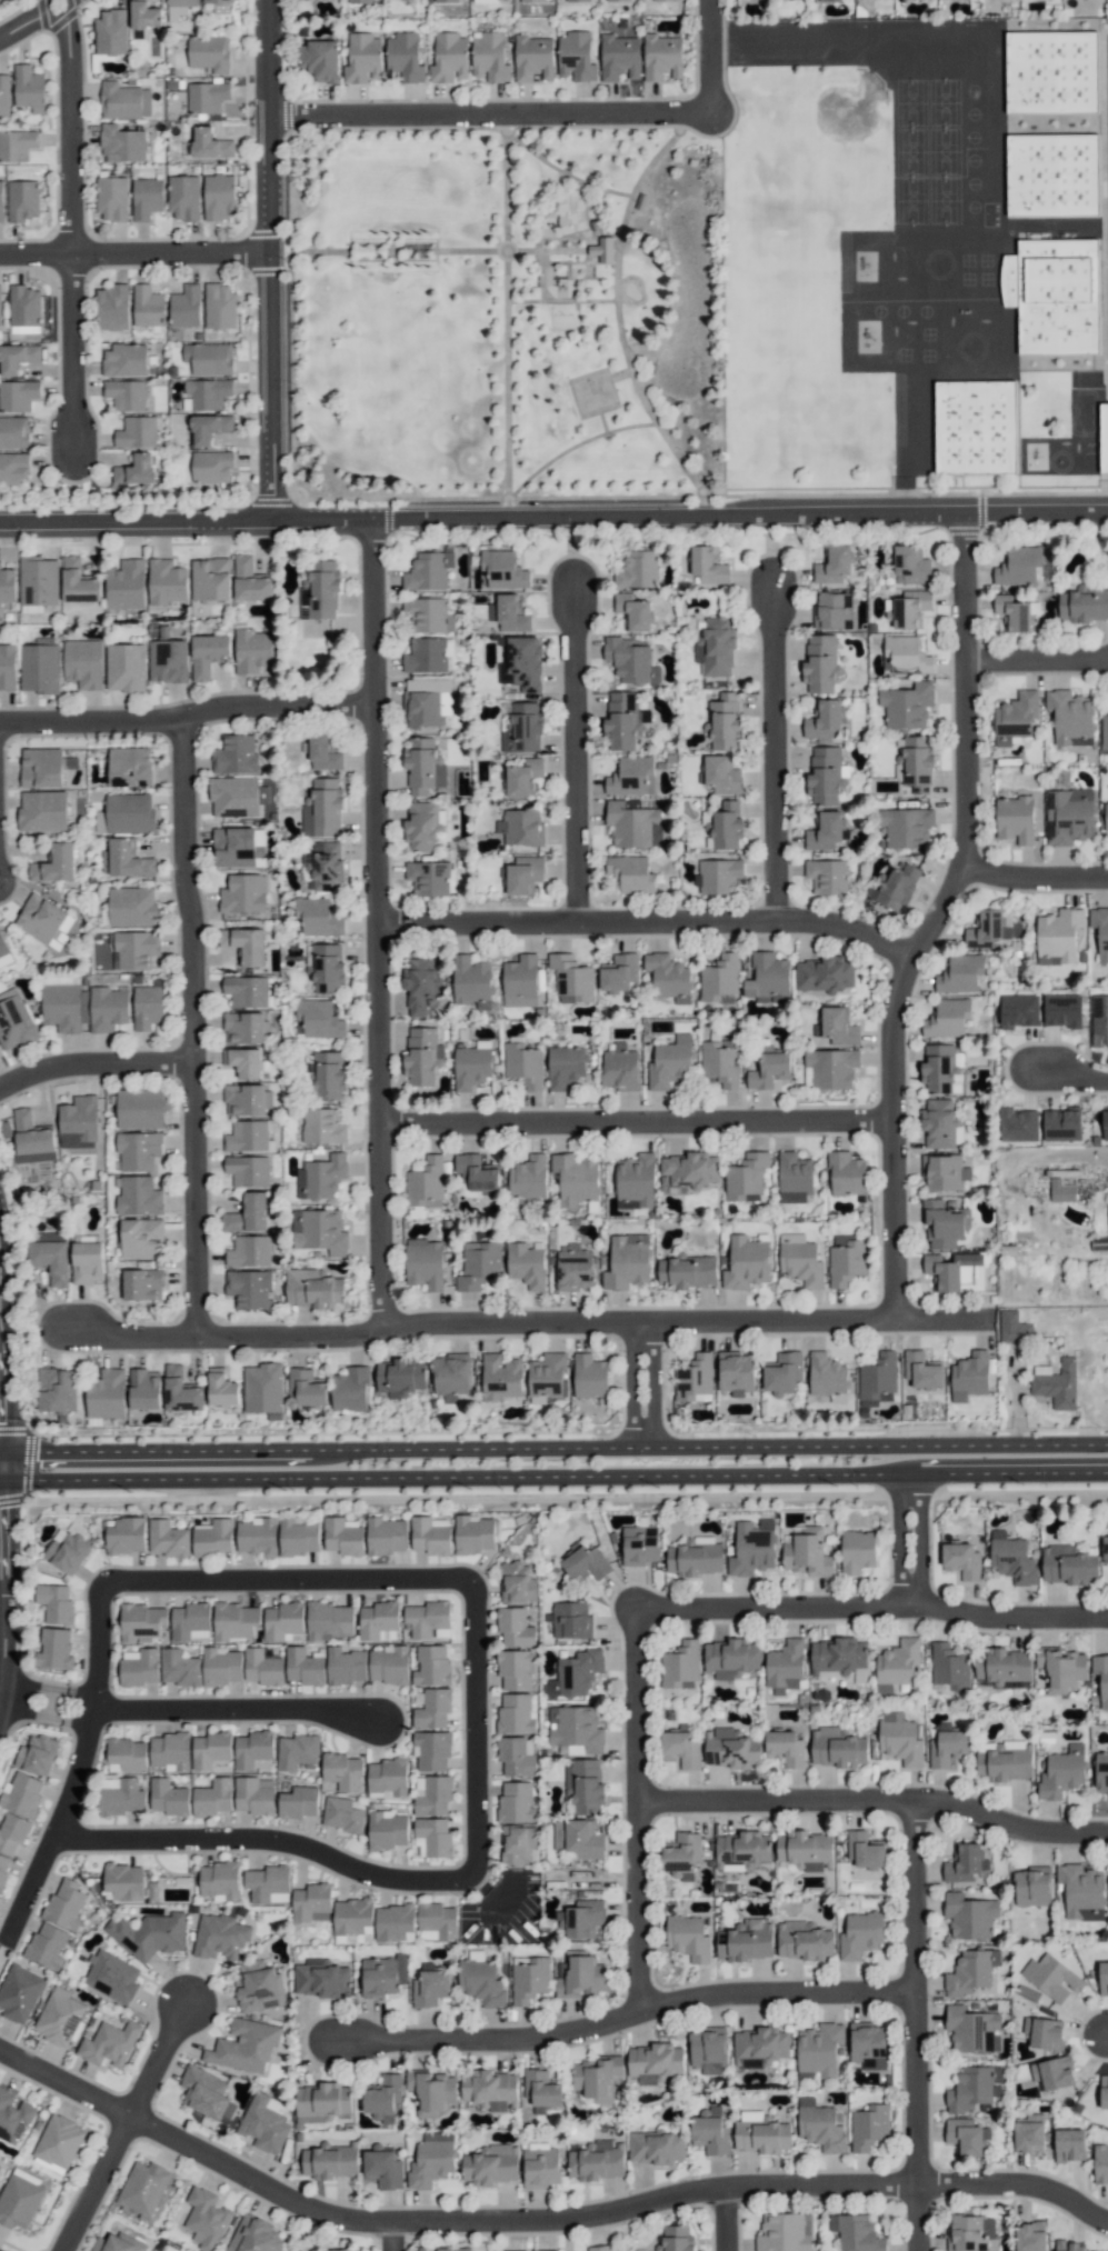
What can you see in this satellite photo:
building: (449, 0)
building: (489, 0)
building: (535, 0)
building: (563, 0)
building: (620, 0)
building: (663, 0)
building: (2, 1)
building: (218, 1)
building: (365, 1)
building: (179, 8)
building: (144, 14)
road: (33, 20)
building: (110, 32)
building: (209, 53)
road: (718, 56)
building: (405, 57)
building: (489, 57)
building: (575, 57)
building: (619, 57)
building: (662, 57)
building: (362, 58)
building: (449, 58)
building: (532, 58)
building: (320, 60)
building: (1052, 72)
building: (28, 86)
building: (3, 96)
building: (207, 97)
building: (123, 100)
park: (910, 102)
park: (942, 102)
road: (499, 112)
road: (79, 126)
road: (572, 126)
building: (122, 143)
building: (210, 143)
building: (17, 144)
park: (806, 149)
park: (910, 151)
park: (944, 151)
road: (565, 173)
building: (1054, 174)
parking lot: (1106, 188)
building: (183, 197)
building: (219, 197)
building: (112, 198)
building: (147, 198)
building: (1, 200)
building: (23, 200)
park: (910, 200)
park: (944, 200)
building: (641, 201)
building: (595, 226)
building: (602, 249)
road: (437, 251)
road: (139, 252)
road: (280, 260)
road: (617, 269)
road: (541, 276)
building: (1054, 294)
road: (561, 300)
building: (23, 306)
building: (147, 306)
building: (186, 306)
building: (220, 306)
building: (0, 307)
building: (112, 307)
park: (508, 312)
road: (289, 319)
building: (24, 329)
road: (80, 356)
building: (17, 358)
building: (208, 358)
building: (124, 360)
park: (592, 392)
building: (206, 393)
building: (18, 394)
building: (126, 394)
building: (209, 428)
building: (975, 428)
building: (14, 432)
building: (137, 432)
building: (1104, 437)
road: (507, 439)
building: (211, 466)
building: (13, 468)
building: (136, 469)
road: (700, 496)
road: (553, 517)
building: (834, 564)
building: (911, 564)
building: (708, 566)
building: (1018, 566)
building: (503, 569)
building: (637, 570)
building: (428, 571)
building: (210, 579)
building: (38, 581)
building: (250, 581)
building: (78, 582)
building: (166, 582)
building: (126, 584)
building: (7, 586)
building: (320, 591)
building: (1084, 604)
building: (910, 609)
building: (832, 610)
building: (633, 611)
building: (1015, 612)
building: (509, 613)
building: (429, 614)
building: (716, 647)
building: (253, 650)
building: (208, 654)
building: (426, 656)
building: (905, 656)
building: (630, 660)
road: (1040, 660)
building: (168, 661)
building: (83, 663)
building: (522, 663)
building: (821, 663)
building: (124, 667)
building: (8, 668)
building: (40, 668)
building: (427, 702)
building: (907, 706)
road: (190, 714)
building: (1016, 717)
building: (1070, 718)
building: (823, 719)
building: (621, 721)
building: (725, 721)
building: (522, 729)
building: (1104, 732)
road: (779, 751)
building: (323, 752)
road: (580, 752)
building: (236, 754)
building: (915, 764)
building: (423, 766)
building: (41, 767)
building: (130, 767)
building: (722, 774)
building: (631, 776)
building: (825, 776)
building: (523, 777)
building: (237, 797)
building: (322, 809)
building: (42, 810)
building: (127, 814)
building: (1068, 816)
building: (1106, 817)
building: (1015, 819)
building: (633, 826)
building: (727, 826)
building: (423, 827)
building: (521, 827)
building: (907, 827)
building: (825, 830)
building: (239, 847)
building: (126, 859)
building: (56, 863)
building: (631, 873)
building: (522, 874)
building: (716, 874)
building: (828, 876)
building: (428, 878)
road: (1036, 878)
building: (896, 883)
building: (243, 893)
building: (132, 907)
building: (319, 917)
road: (940, 918)
building: (44, 920)
road: (652, 921)
road: (382, 924)
building: (1100, 930)
building: (1058, 936)
building: (132, 949)
building: (4, 952)
building: (326, 968)
building: (619, 972)
building: (823, 973)
building: (960, 973)
building: (718, 976)
building: (520, 977)
building: (668, 977)
building: (767, 977)
building: (571, 978)
building: (472, 982)
building: (421, 984)
building: (248, 991)
building: (520, 1002)
building: (147, 1006)
building: (62, 1007)
building: (108, 1009)
building: (1018, 1010)
building: (1061, 1010)
building: (947, 1018)
building: (14, 1020)
building: (318, 1020)
building: (1099, 1020)
road: (199, 1026)
building: (837, 1026)
building: (244, 1028)
building: (422, 1056)
building: (243, 1061)
building: (670, 1062)
building: (721, 1062)
road: (97, 1063)
building: (471, 1064)
building: (523, 1064)
building: (565, 1067)
building: (620, 1068)
building: (830, 1068)
building: (938, 1068)
building: (770, 1069)
building: (329, 1077)
road: (1069, 1077)
building: (248, 1099)
building: (140, 1108)
building: (78, 1122)
road: (641, 1122)
building: (938, 1123)
building: (1061, 1123)
building: (1105, 1123)
building: (1017, 1124)
building: (322, 1125)
building: (248, 1137)
building: (31, 1139)
building: (138, 1150)
building: (691, 1169)
building: (248, 1170)
building: (476, 1172)
building: (944, 1172)
building: (846, 1174)
building: (746, 1175)
building: (320, 1177)
building: (528, 1178)
building: (793, 1178)
building: (575, 1179)
building: (636, 1181)
building: (426, 1183)
building: (1061, 1191)
building: (138, 1195)
building: (248, 1213)
building: (1107, 1213)
building: (945, 1223)
building: (319, 1231)
building: (141, 1238)
building: (1099, 1244)
building: (249, 1251)
building: (51, 1257)
building: (800, 1260)
building: (846, 1260)
building: (87, 1261)
building: (627, 1261)
building: (425, 1263)
building: (746, 1263)
building: (478, 1264)
building: (526, 1264)
building: (573, 1268)
building: (954, 1270)
building: (687, 1271)
building: (142, 1284)
building: (248, 1289)
building: (313, 1289)
road: (602, 1322)
building: (1014, 1327)
road: (134, 1338)
building: (922, 1370)
building: (736, 1372)
building: (450, 1375)
building: (589, 1375)
building: (969, 1375)
building: (400, 1377)
building: (501, 1377)
building: (693, 1377)
building: (827, 1377)
building: (878, 1380)
building: (1055, 1383)
road: (646, 1384)
building: (306, 1387)
building: (144, 1388)
building: (221, 1388)
building: (262, 1388)
building: (350, 1389)
building: (58, 1391)
building: (180, 1391)
building: (106, 1393)
road: (553, 1448)
road: (3, 1458)
road: (553, 1475)
building: (473, 1534)
building: (126, 1535)
building: (257, 1535)
building: (298, 1535)
building: (386, 1535)
building: (342, 1537)
building: (429, 1537)
building: (168, 1538)
building: (212, 1538)
road: (914, 1540)
building: (640, 1544)
building: (753, 1547)
building: (1105, 1547)
building: (67, 1551)
building: (857, 1551)
building: (807, 1552)
building: (696, 1558)
building: (1011, 1558)
building: (961, 1560)
building: (586, 1563)
building: (1068, 1565)
road: (295, 1581)
building: (517, 1583)
road: (2, 1603)
building: (56, 1603)
road: (780, 1608)
road: (1012, 1617)
building: (378, 1619)
building: (428, 1619)
building: (142, 1620)
building: (234, 1620)
building: (282, 1620)
building: (329, 1620)
building: (571, 1620)
building: (190, 1621)
building: (515, 1627)
building: (54, 1649)
building: (731, 1658)
building: (839, 1659)
building: (897, 1663)
building: (389, 1664)
building: (346, 1665)
building: (431, 1665)
building: (680, 1665)
building: (785, 1665)
building: (1004, 1665)
building: (138, 1667)
building: (221, 1667)
building: (262, 1667)
building: (305, 1667)
building: (949, 1667)
building: (179, 1668)
building: (515, 1668)
building: (1061, 1669)
building: (576, 1673)
building: (1101, 1677)
road: (53, 1703)
road: (242, 1705)
building: (433, 1709)
building: (515, 1714)
building: (576, 1728)
road: (480, 1733)
building: (899, 1739)
building: (252, 1748)
building: (785, 1748)
building: (837, 1748)
building: (947, 1748)
building: (210, 1749)
building: (681, 1749)
building: (730, 1749)
building: (170, 1750)
building: (431, 1750)
building: (297, 1751)
building: (128, 1753)
building: (37, 1754)
building: (515, 1757)
building: (1006, 1762)
building: (342, 1771)
road: (88, 1772)
building: (1061, 1772)
building: (1101, 1772)
building: (387, 1777)
building: (585, 1785)
building: (22, 1794)
building: (254, 1795)
building: (432, 1795)
building: (121, 1797)
building: (212, 1797)
building: (169, 1798)
road: (877, 1799)
building: (299, 1802)
building: (516, 1802)
road: (642, 1810)
building: (342, 1814)
building: (387, 1830)
building: (12, 1833)
building: (432, 1837)
building: (579, 1839)
building: (519, 1844)
road: (307, 1848)
building: (742, 1850)
building: (806, 1850)
building: (865, 1850)
building: (681, 1855)
building: (962, 1862)
building: (3, 1870)
building: (219, 1880)
building: (123, 1881)
building: (268, 1883)
building: (1032, 1887)
building: (1081, 1892)
building: (311, 1902)
building: (66, 1903)
building: (352, 1915)
building: (969, 1915)
building: (581, 1918)
building: (437, 1922)
building: (395, 1923)
building: (149, 1934)
building: (860, 1934)
building: (220, 1937)
building: (688, 1938)
building: (746, 1940)
building: (803, 1941)
building: (47, 1945)
building: (971, 1971)
building: (111, 1975)
building: (383, 1975)
building: (1051, 1977)
building: (581, 1978)
building: (1102, 1978)
building: (322, 1979)
building: (529, 1979)
building: (481, 1982)
building: (258, 1985)
building: (430, 1985)
road: (780, 1992)
building: (19, 1993)
building: (60, 2018)
road: (920, 2024)
building: (972, 2029)
building: (1044, 2032)
road: (489, 2039)
building: (109, 2043)
building: (868, 2044)
building: (243, 2047)
building: (759, 2047)
building: (708, 2050)
road: (158, 2057)
building: (655, 2063)
building: (1052, 2072)
building: (596, 2078)
building: (972, 2088)
building: (490, 2090)
building: (541, 2090)
building: (432, 2091)
building: (1104, 2092)
building: (206, 2093)
building: (382, 2097)
building: (322, 2102)
building: (264, 2122)
building: (821, 2125)
building: (869, 2127)
building: (710, 2131)
building: (760, 2133)
building: (1029, 2134)
building: (967, 2137)
building: (59, 2141)
building: (1069, 2144)
building: (656, 2147)
building: (431, 2160)
building: (330, 2161)
building: (597, 2161)
building: (491, 2164)
building: (1100, 2164)
building: (0, 2165)
building: (541, 2167)
building: (382, 2168)
road: (96, 2182)
building: (143, 2188)
building: (19, 2201)
building: (206, 2218)
road: (540, 2219)
road: (729, 2219)
building: (785, 2232)
building: (856, 2232)
building: (970, 2232)
building: (254, 2235)
road: (392, 2235)
building: (1030, 2237)
building: (117, 2243)
building: (1070, 2245)
building: (599, 2248)
building: (445, 2249)
building: (339, 2250)

